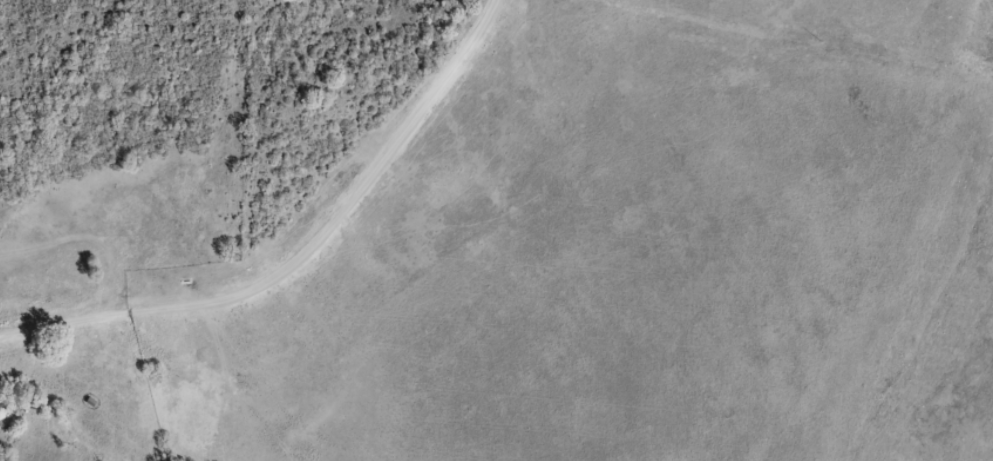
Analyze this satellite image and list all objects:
road: (313, 267)

